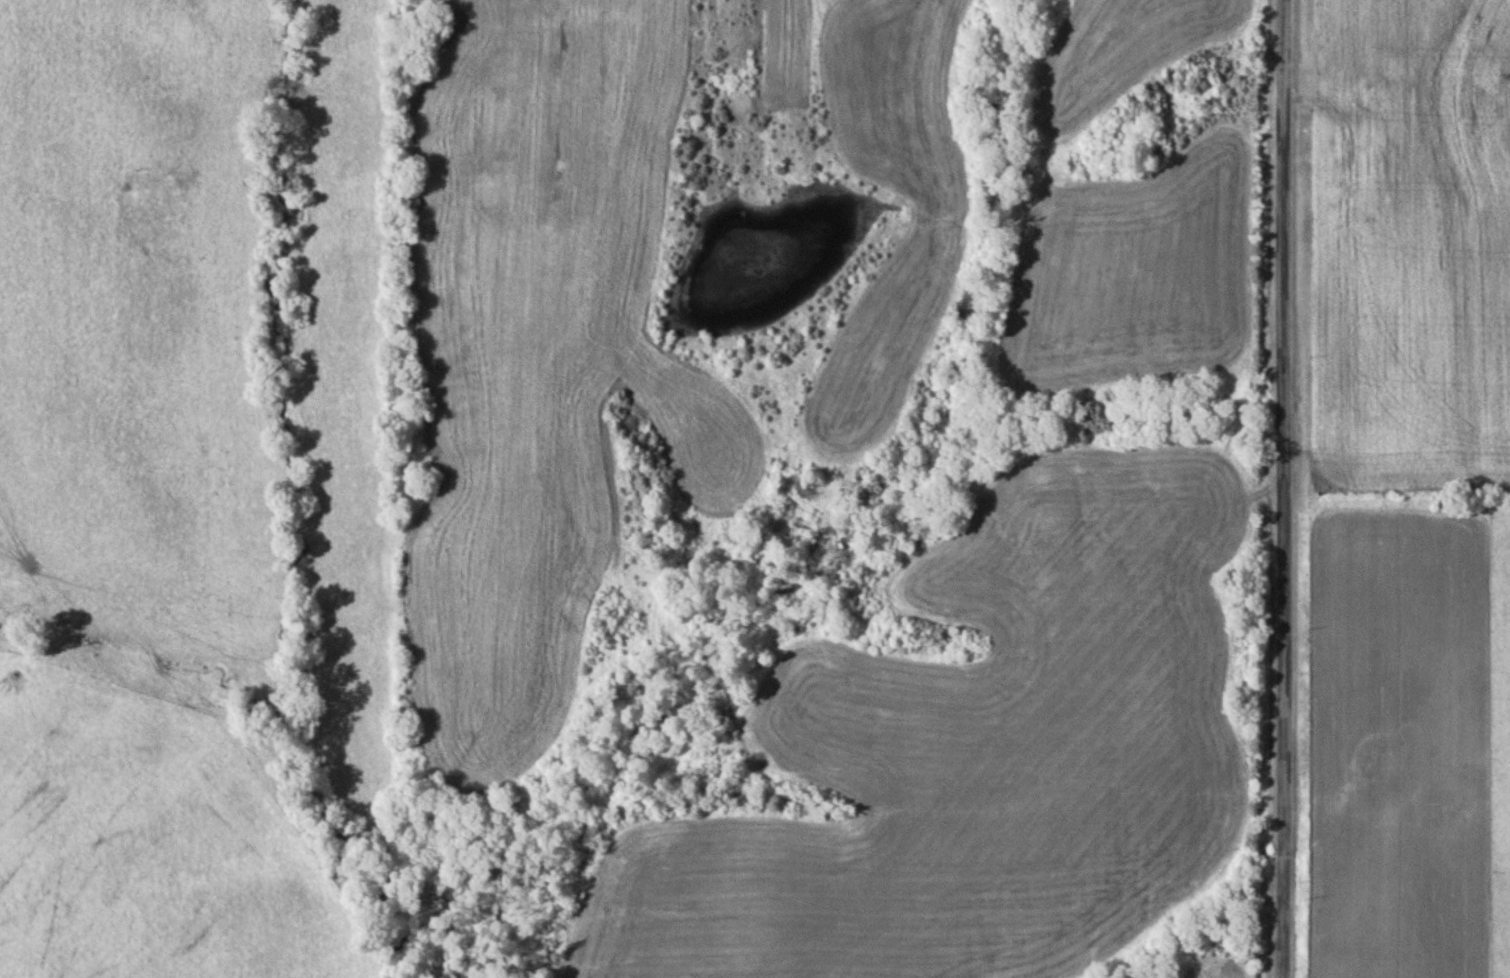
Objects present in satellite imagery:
road: (1289, 489)

